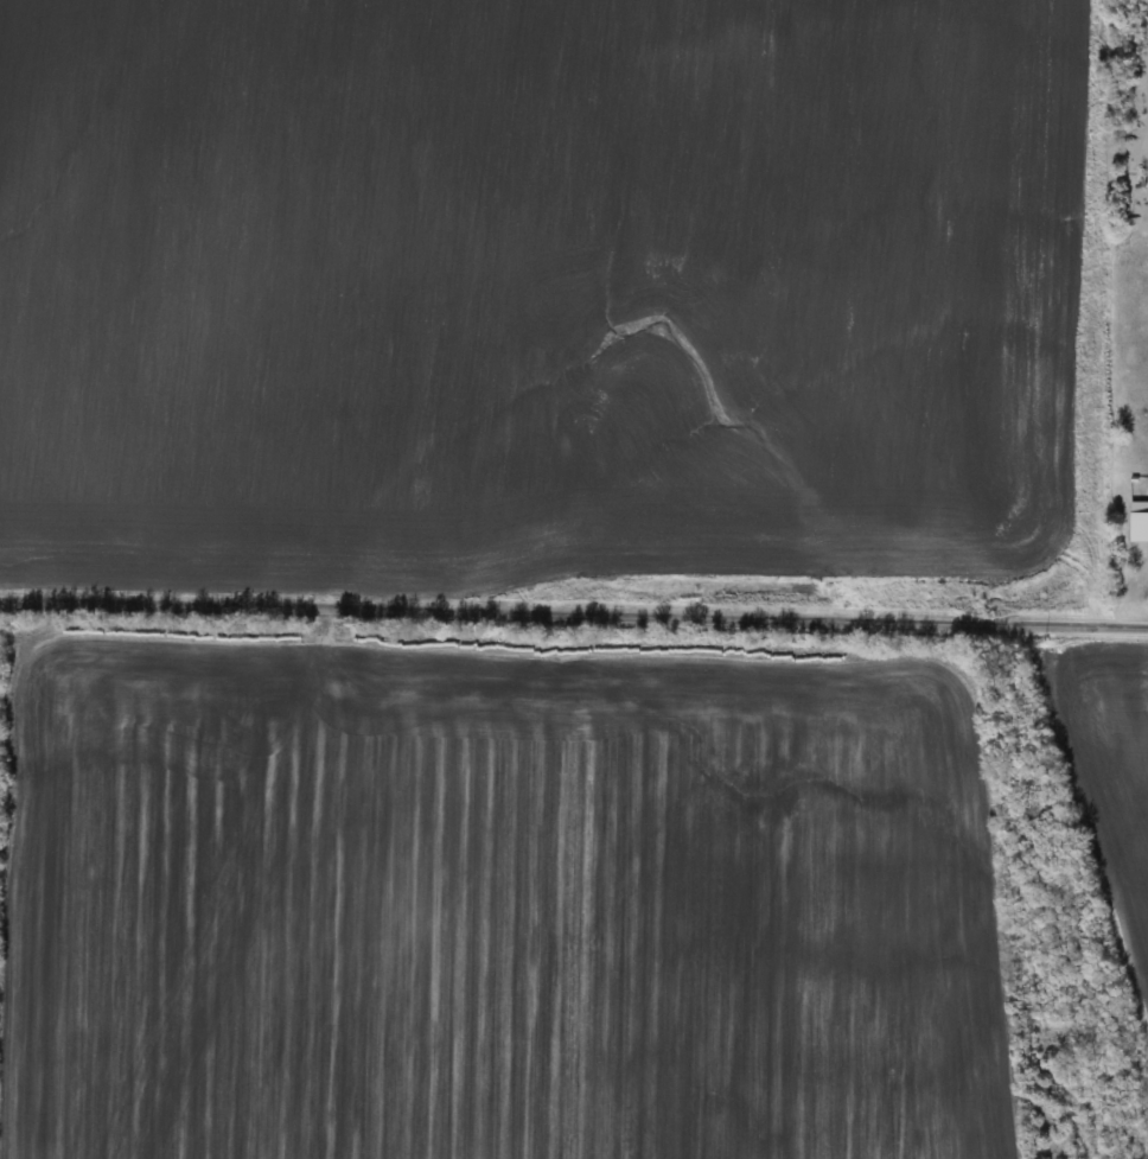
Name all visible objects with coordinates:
road: (574, 616)

